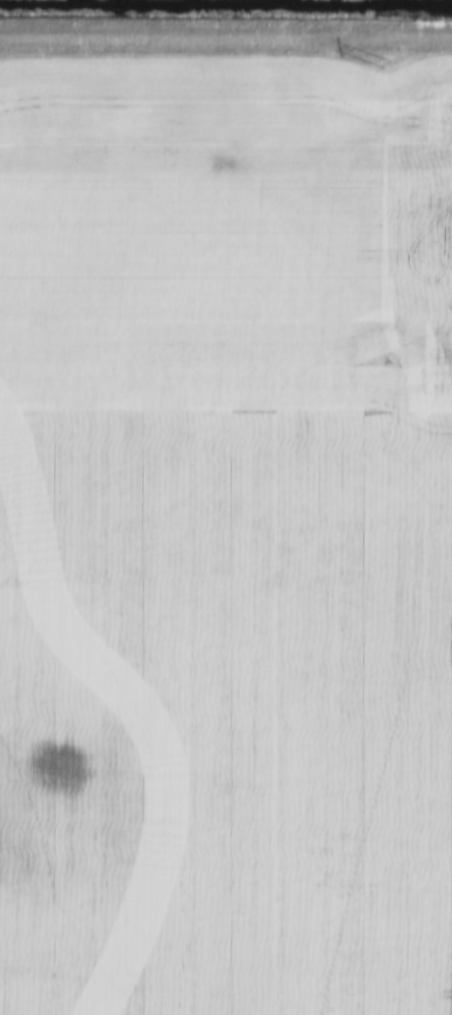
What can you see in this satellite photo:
power tower: (308, 33)

